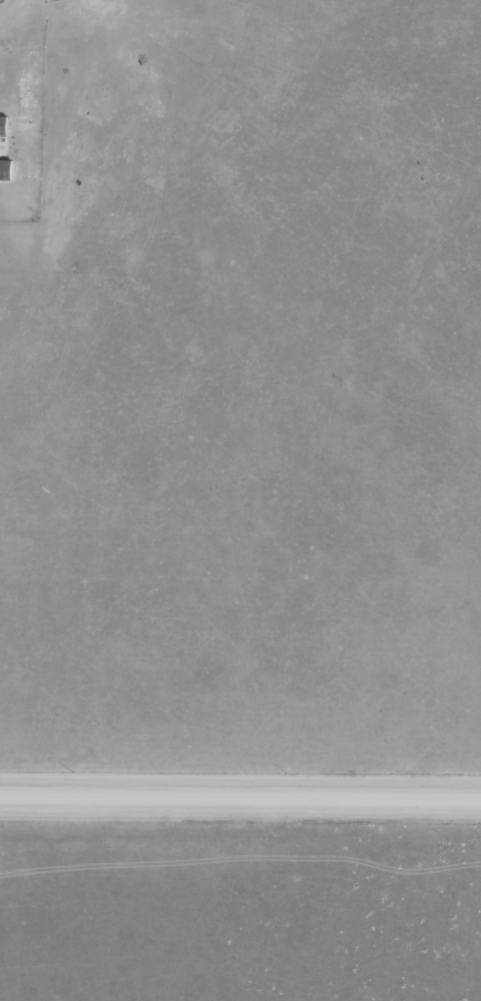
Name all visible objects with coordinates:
road: (1, 2)
road: (240, 795)

